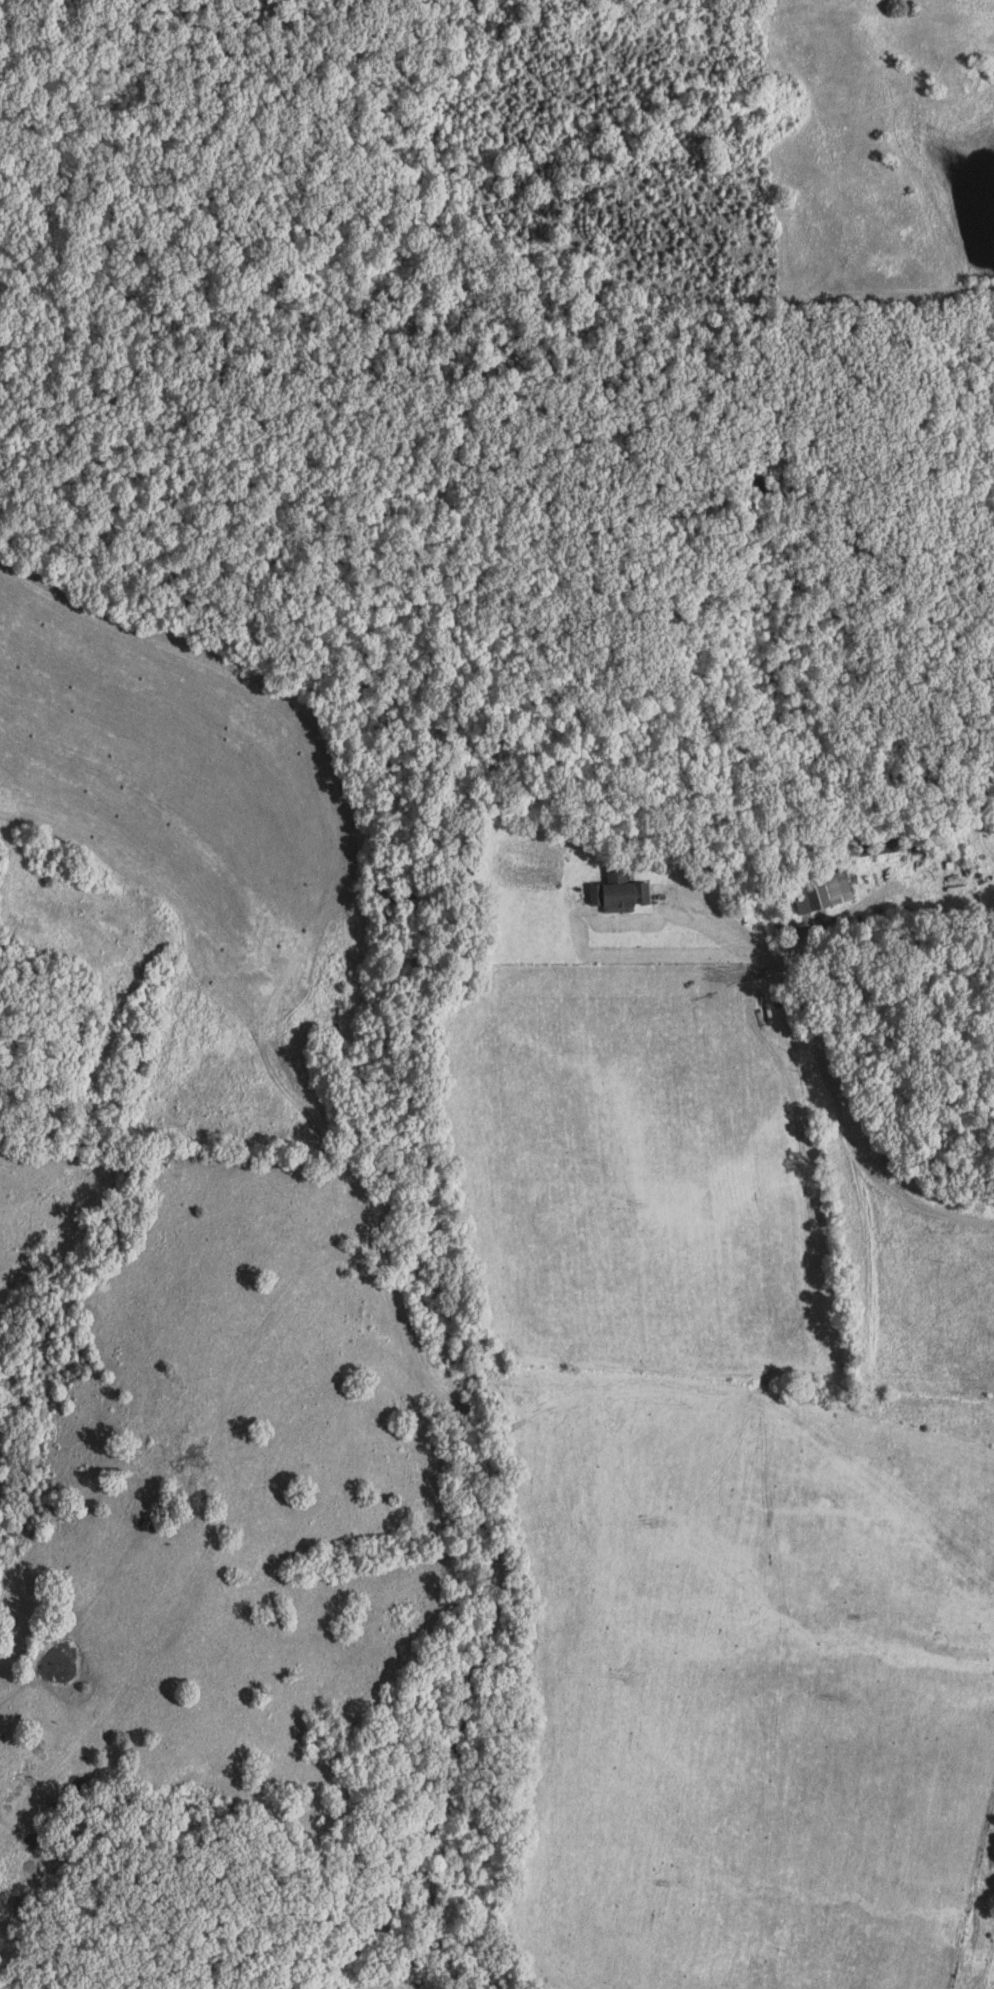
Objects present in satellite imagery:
building: (626, 891)

